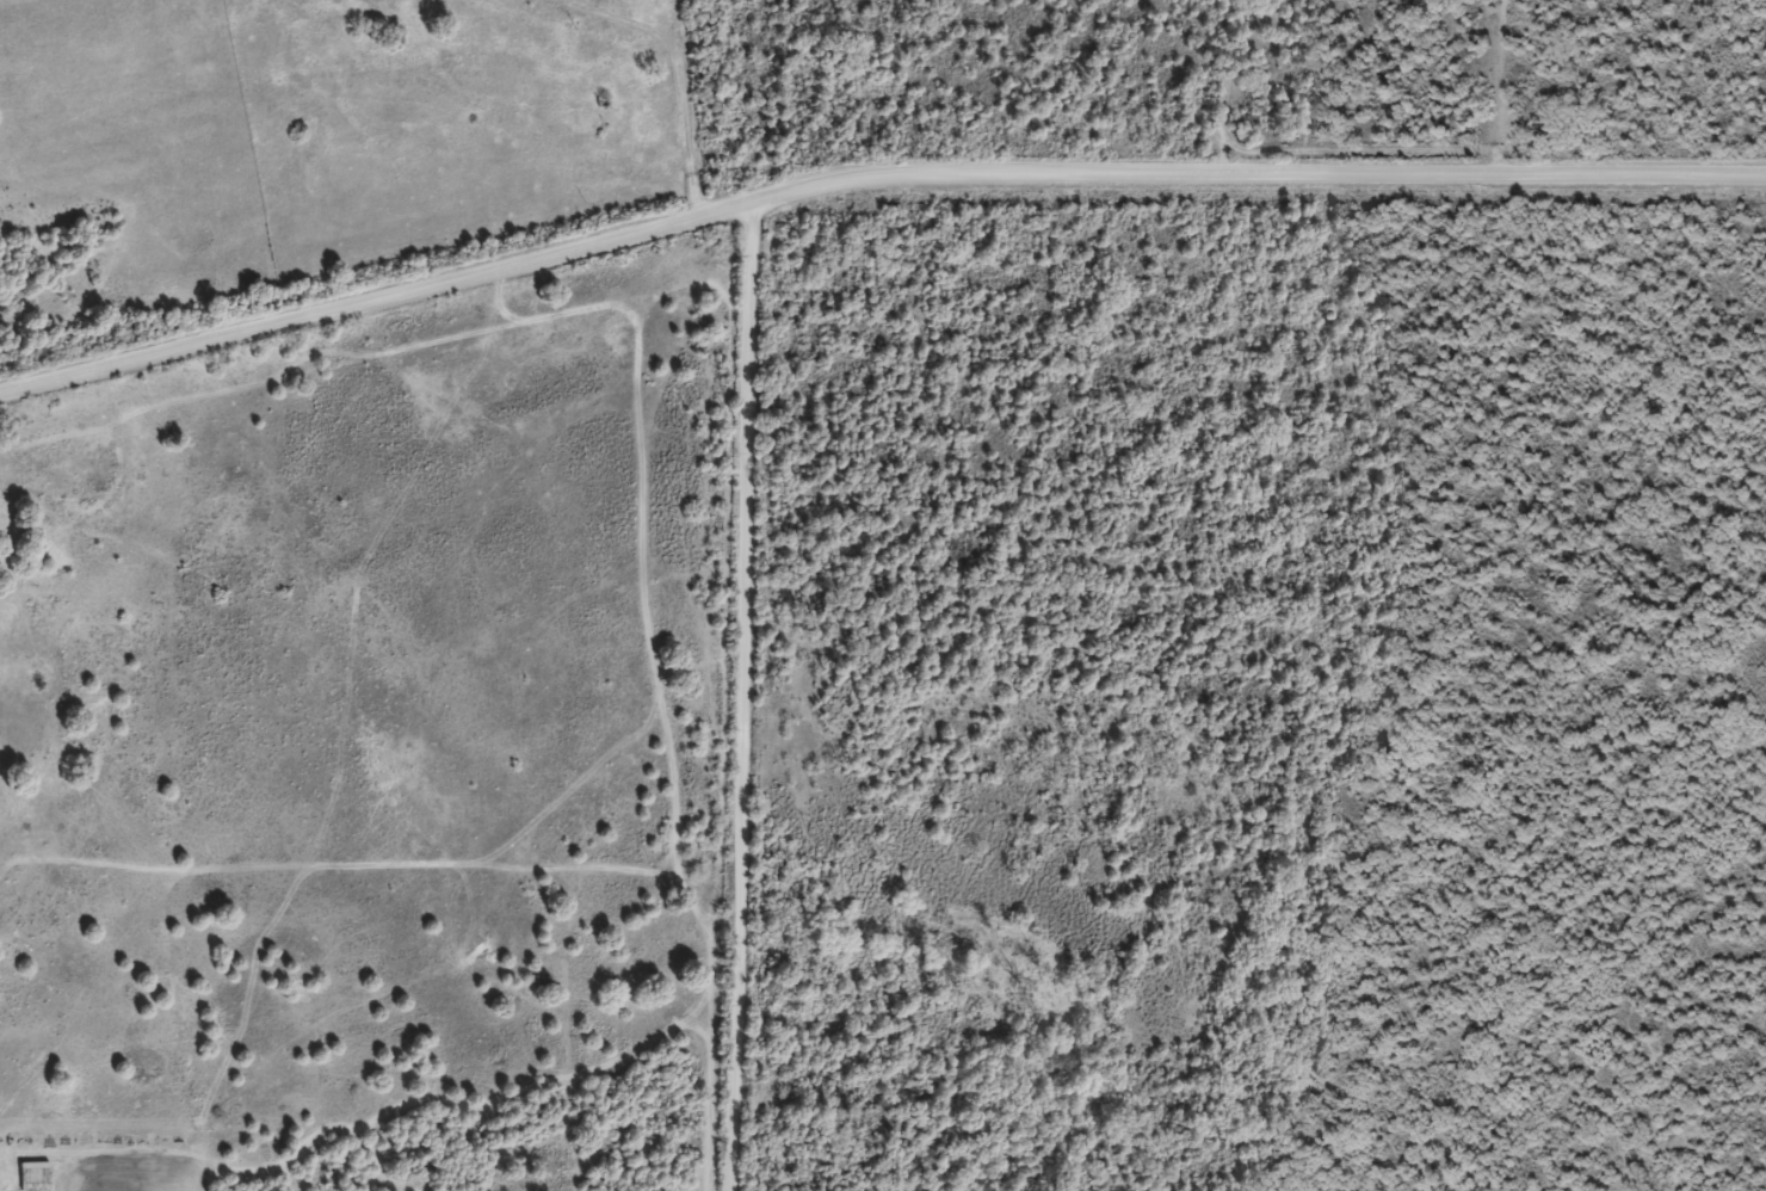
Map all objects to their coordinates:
road: (869, 178)
road: (749, 696)
building: (30, 1180)

